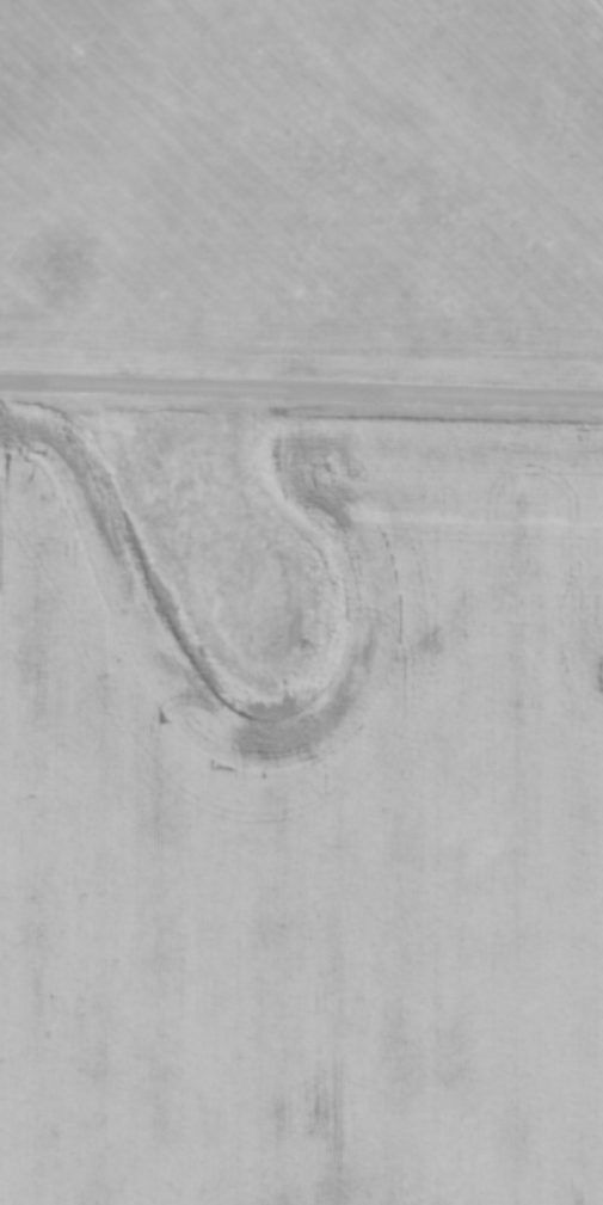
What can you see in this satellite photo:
road: (301, 376)

